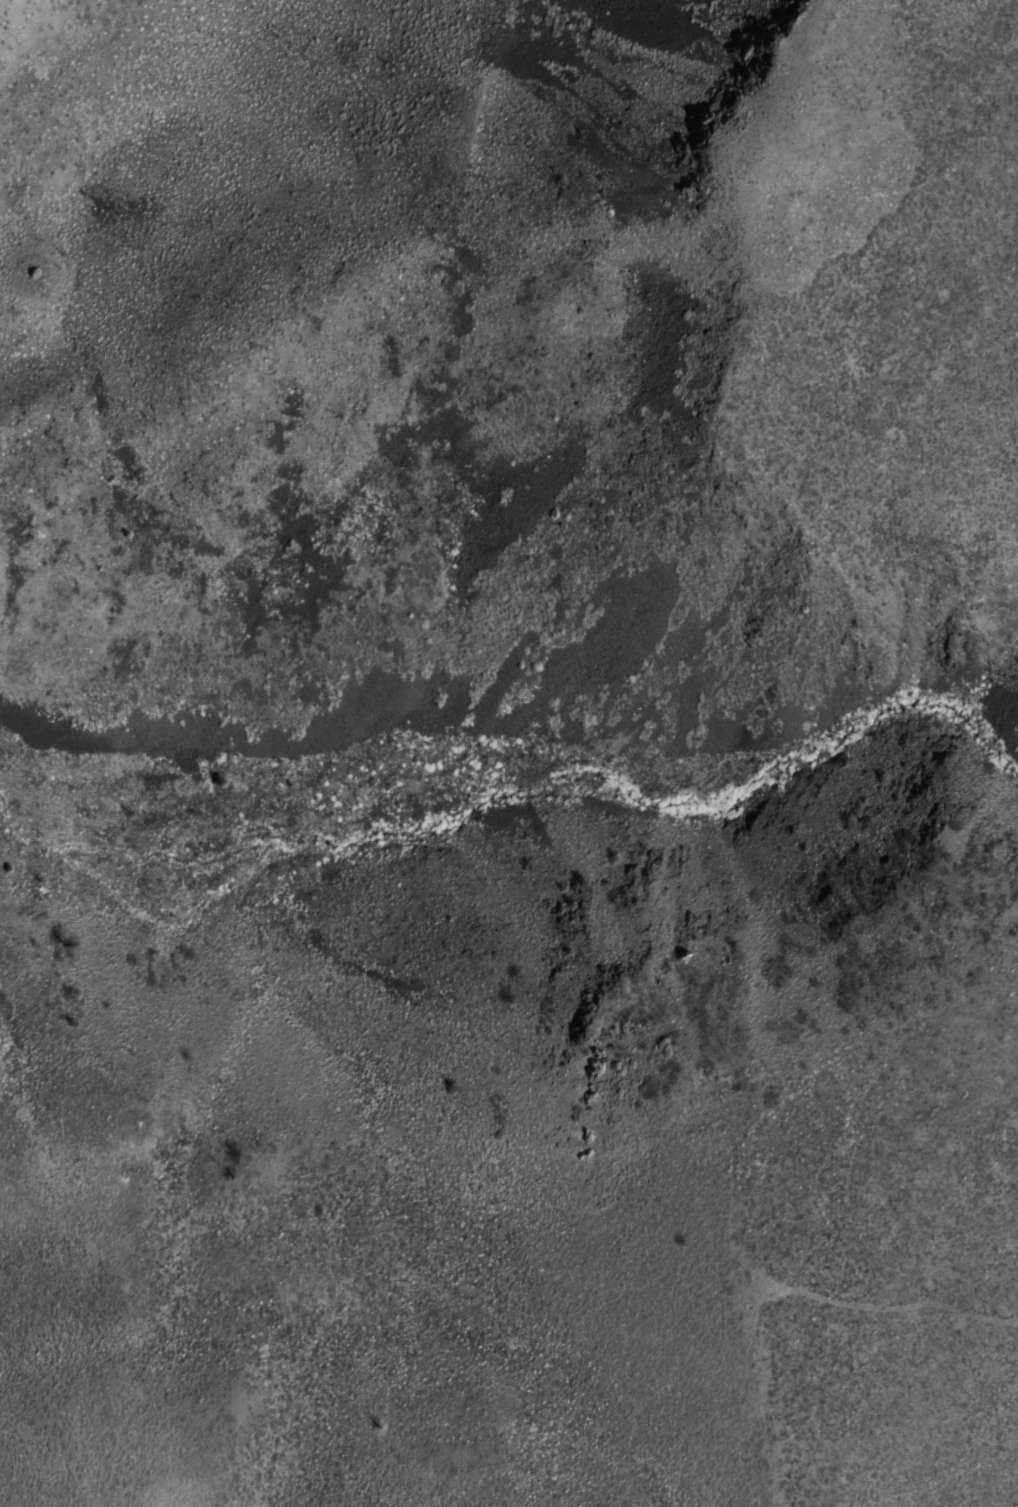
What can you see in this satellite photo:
road: (888, 1307)

